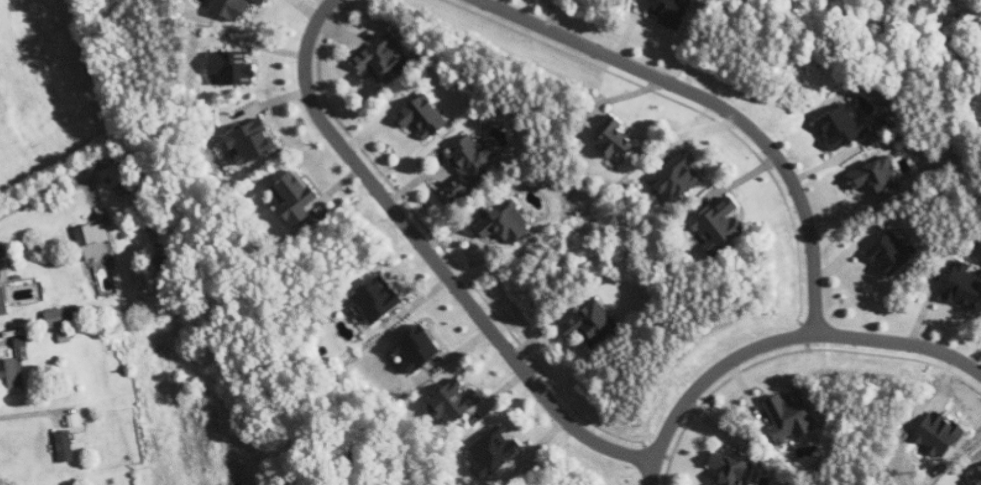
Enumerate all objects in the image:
building: (261, 1)
building: (231, 8)
building: (671, 12)
building: (381, 59)
building: (232, 67)
road: (720, 105)
building: (423, 117)
building: (888, 120)
building: (838, 130)
building: (614, 139)
building: (252, 142)
building: (469, 166)
building: (678, 177)
building: (877, 178)
road: (48, 190)
building: (296, 197)
building: (506, 221)
building: (95, 241)
building: (888, 254)
road: (433, 258)
building: (964, 285)
building: (376, 299)
building: (3, 301)
building: (58, 317)
building: (590, 322)
road: (780, 338)
building: (22, 341)
building: (419, 346)
building: (12, 372)
building: (455, 402)
road: (29, 412)
building: (790, 412)
building: (66, 445)
building: (494, 450)
building: (732, 470)
building: (976, 477)

